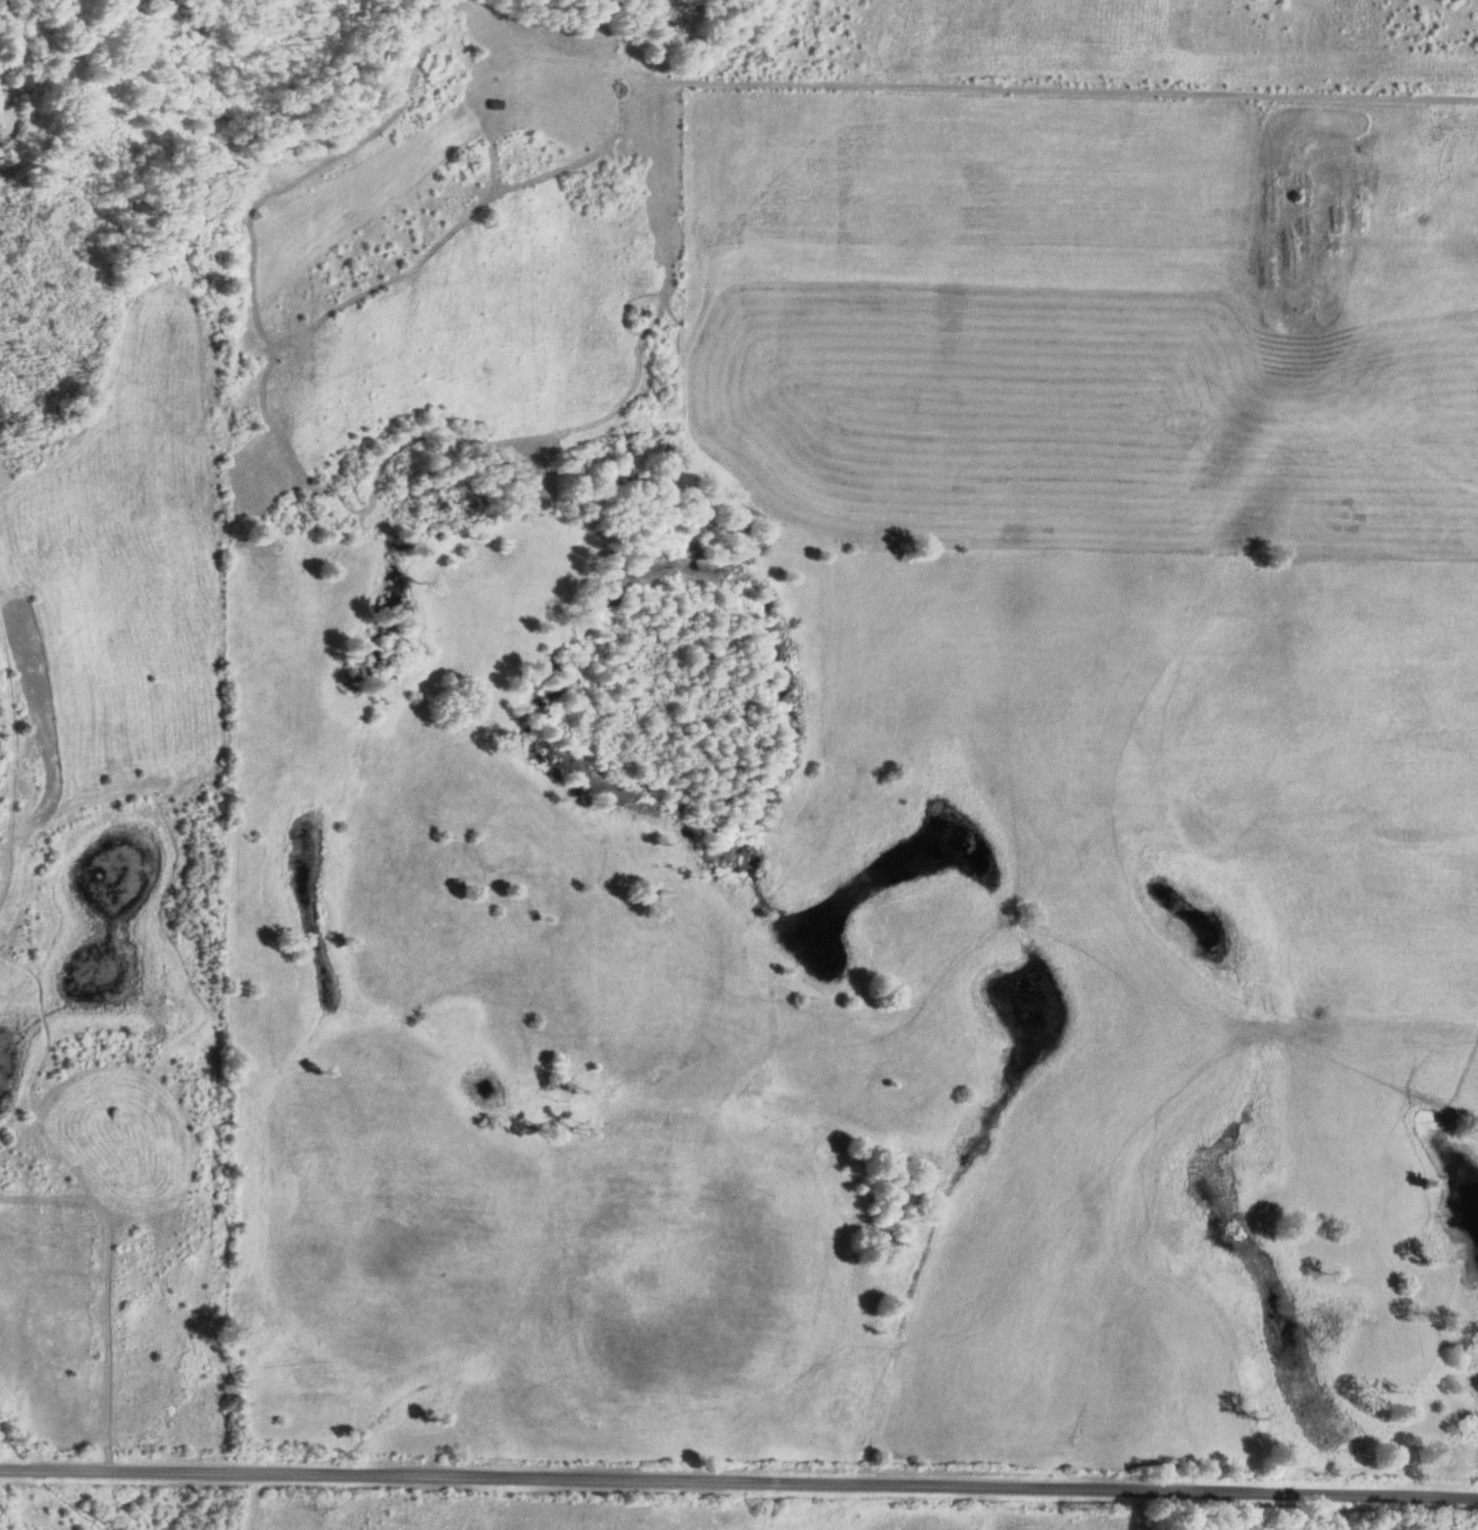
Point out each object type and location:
road: (739, 1474)

